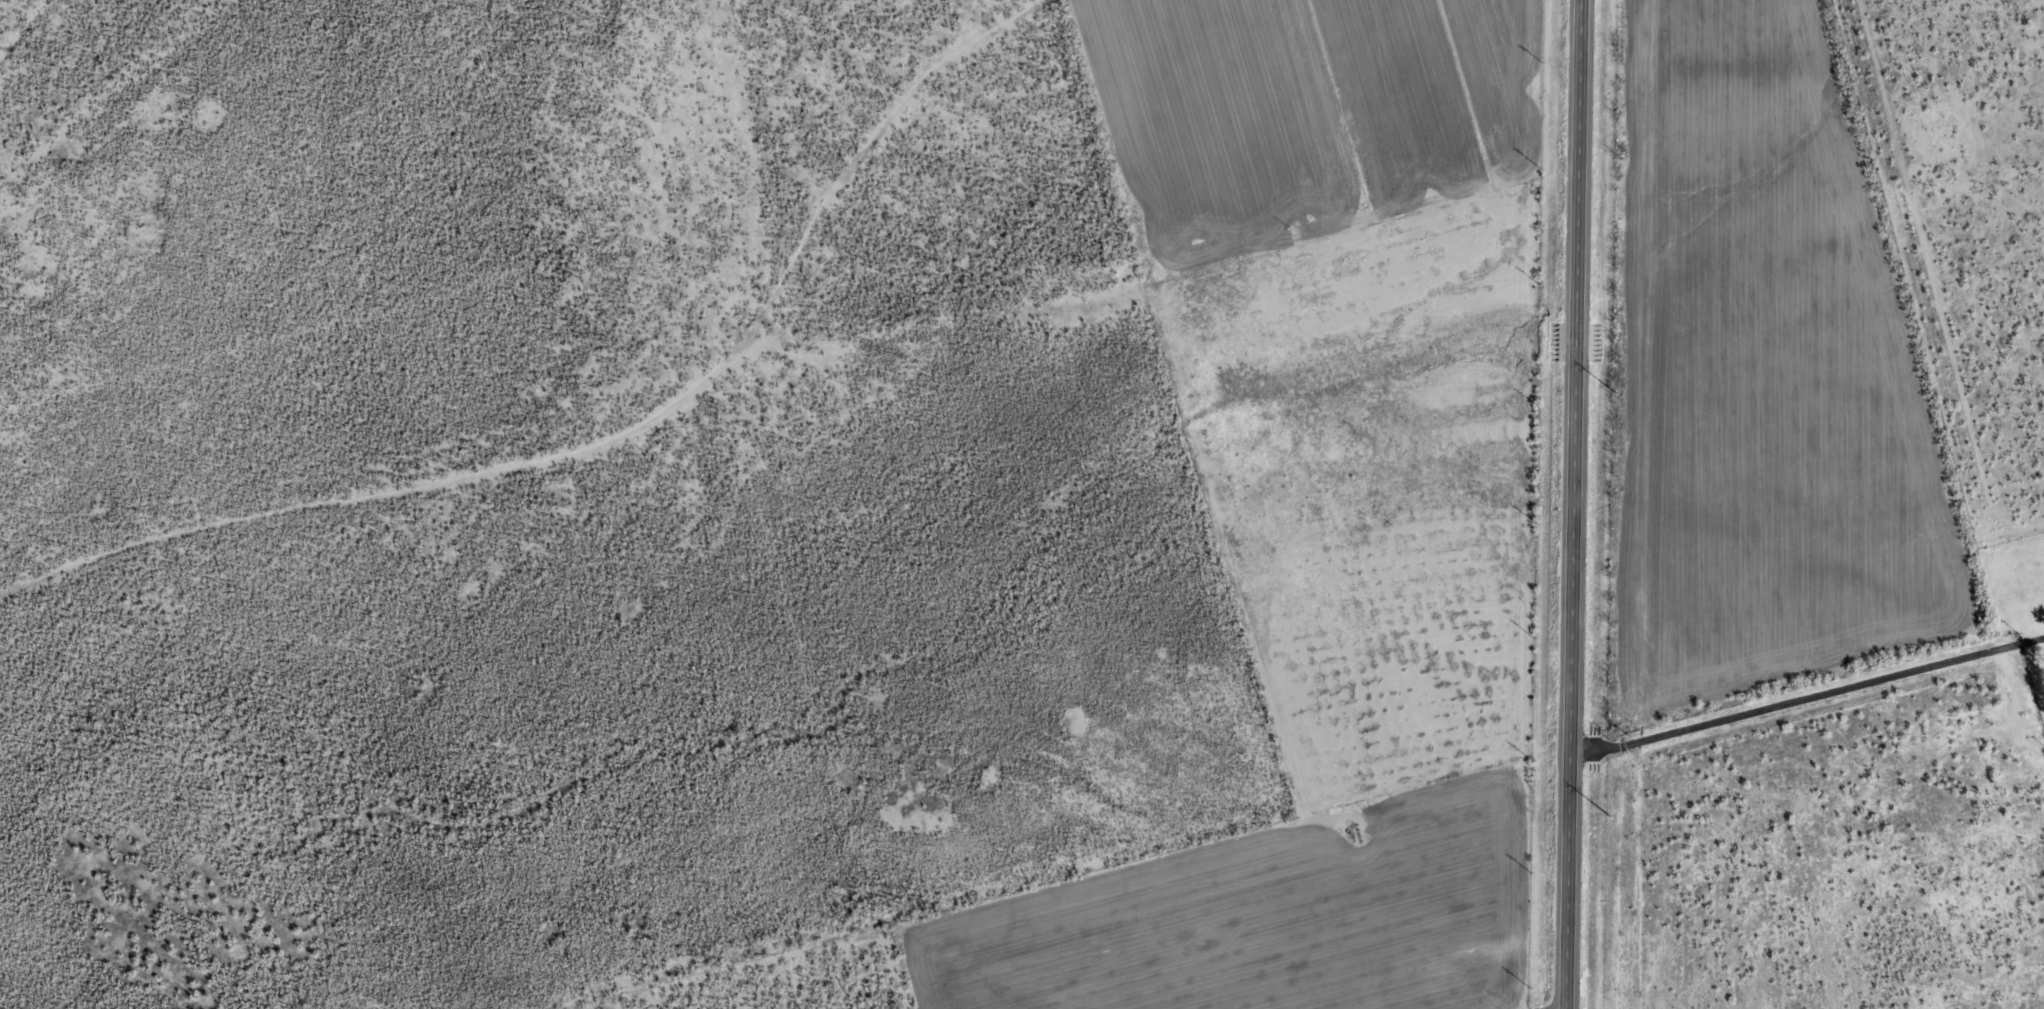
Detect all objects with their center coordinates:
power tower: (1622, 375)
road: (1576, 504)
power tower: (1607, 816)

